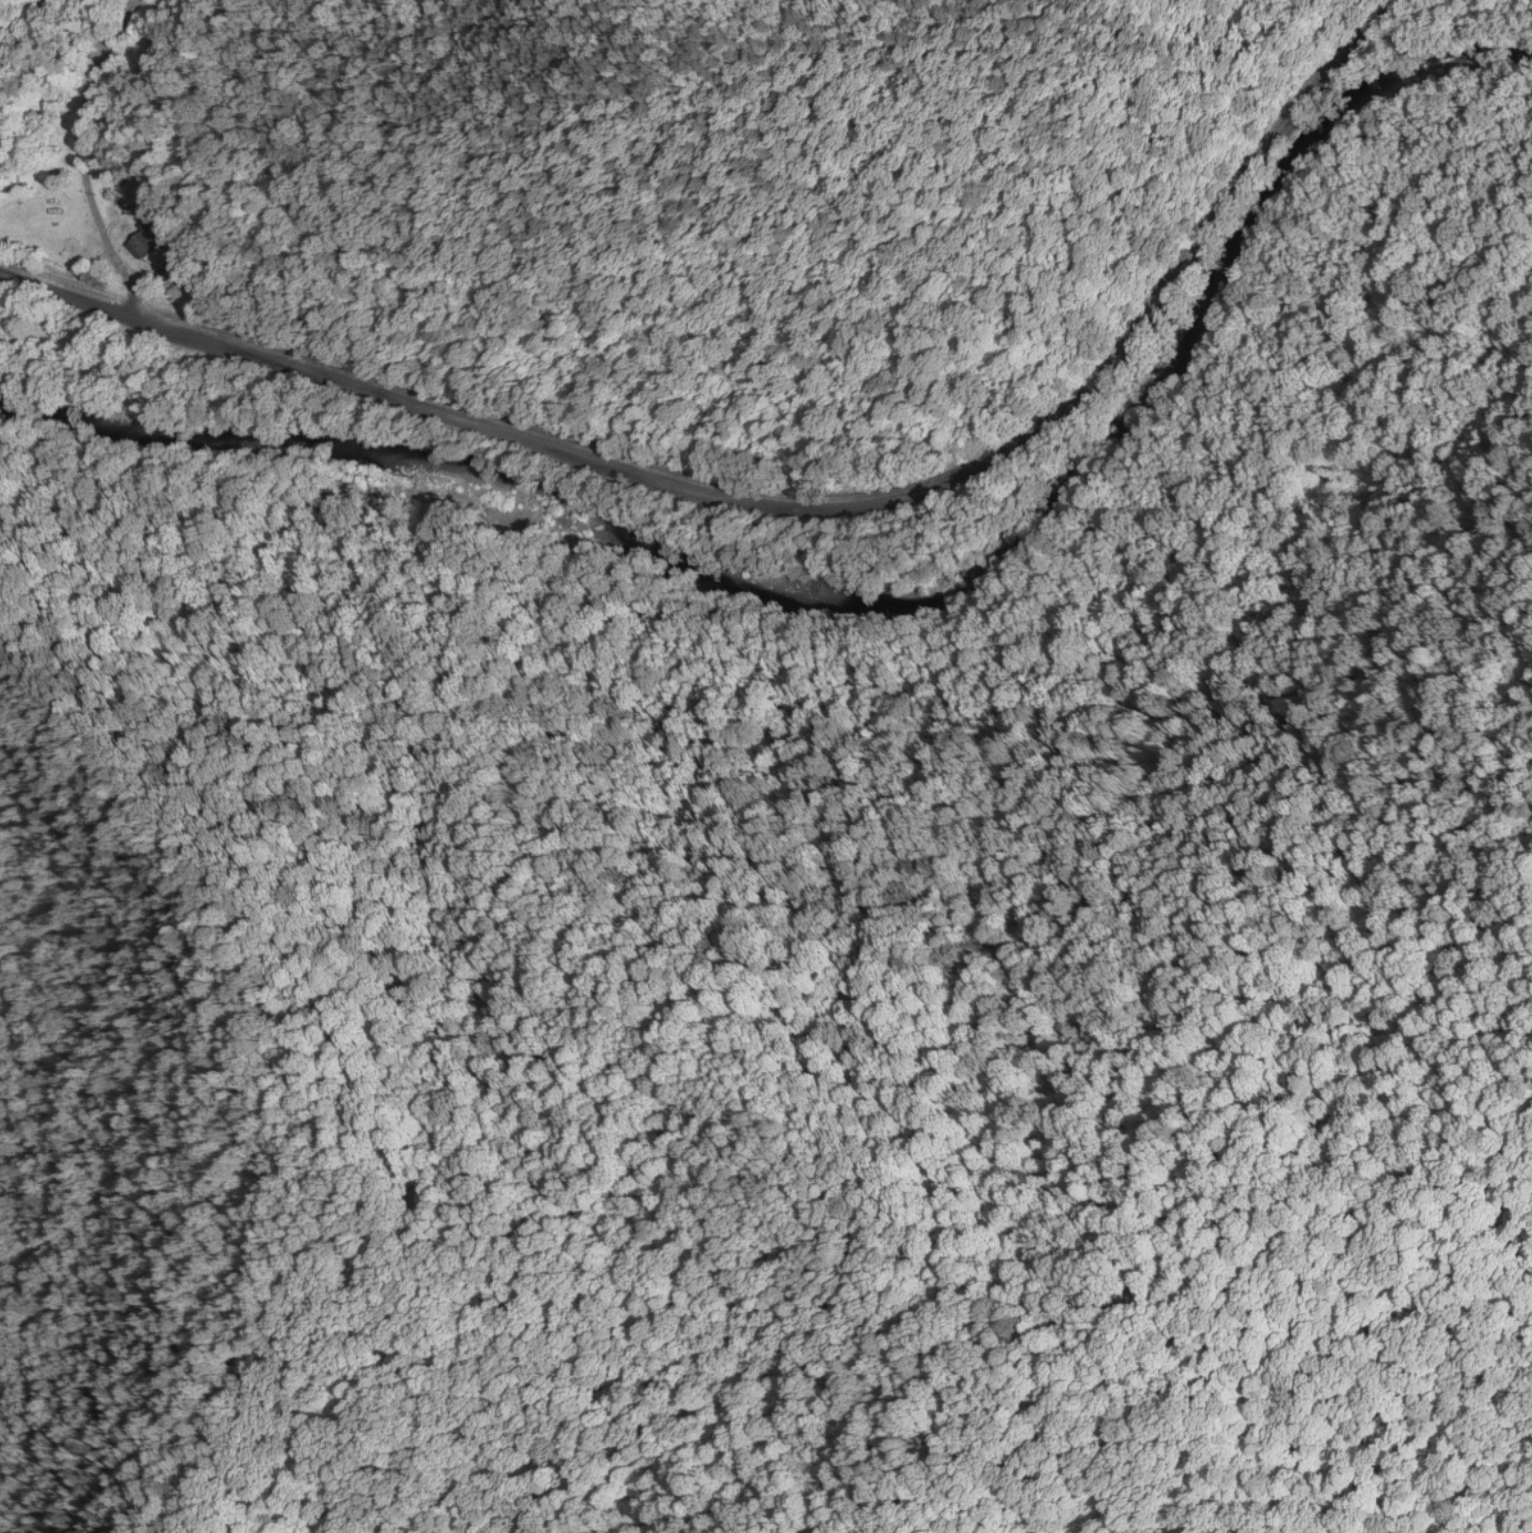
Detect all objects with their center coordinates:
road: (80, 167)
road: (798, 503)

